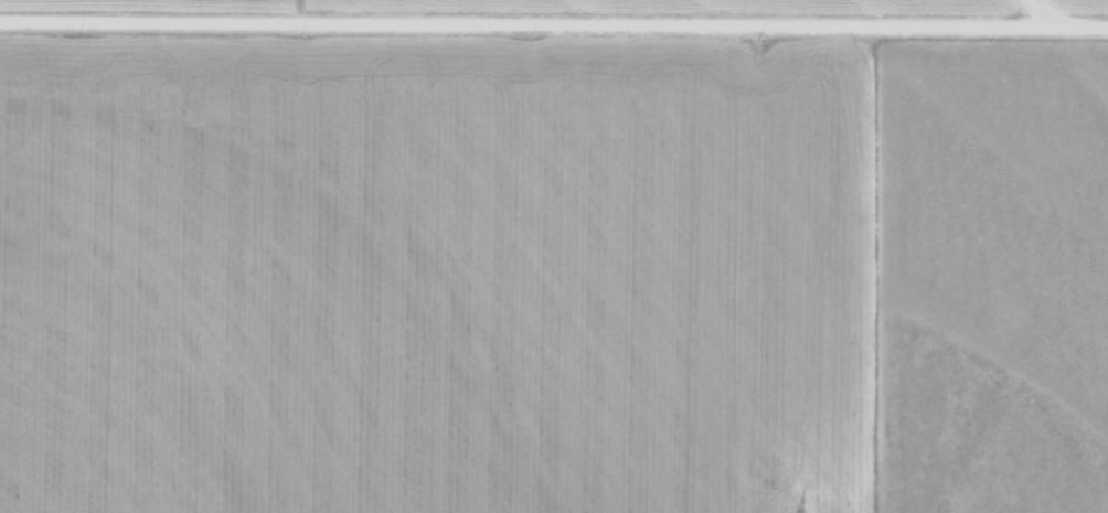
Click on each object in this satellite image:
road: (1076, 19)
road: (553, 33)
road: (903, 148)
road: (908, 386)

